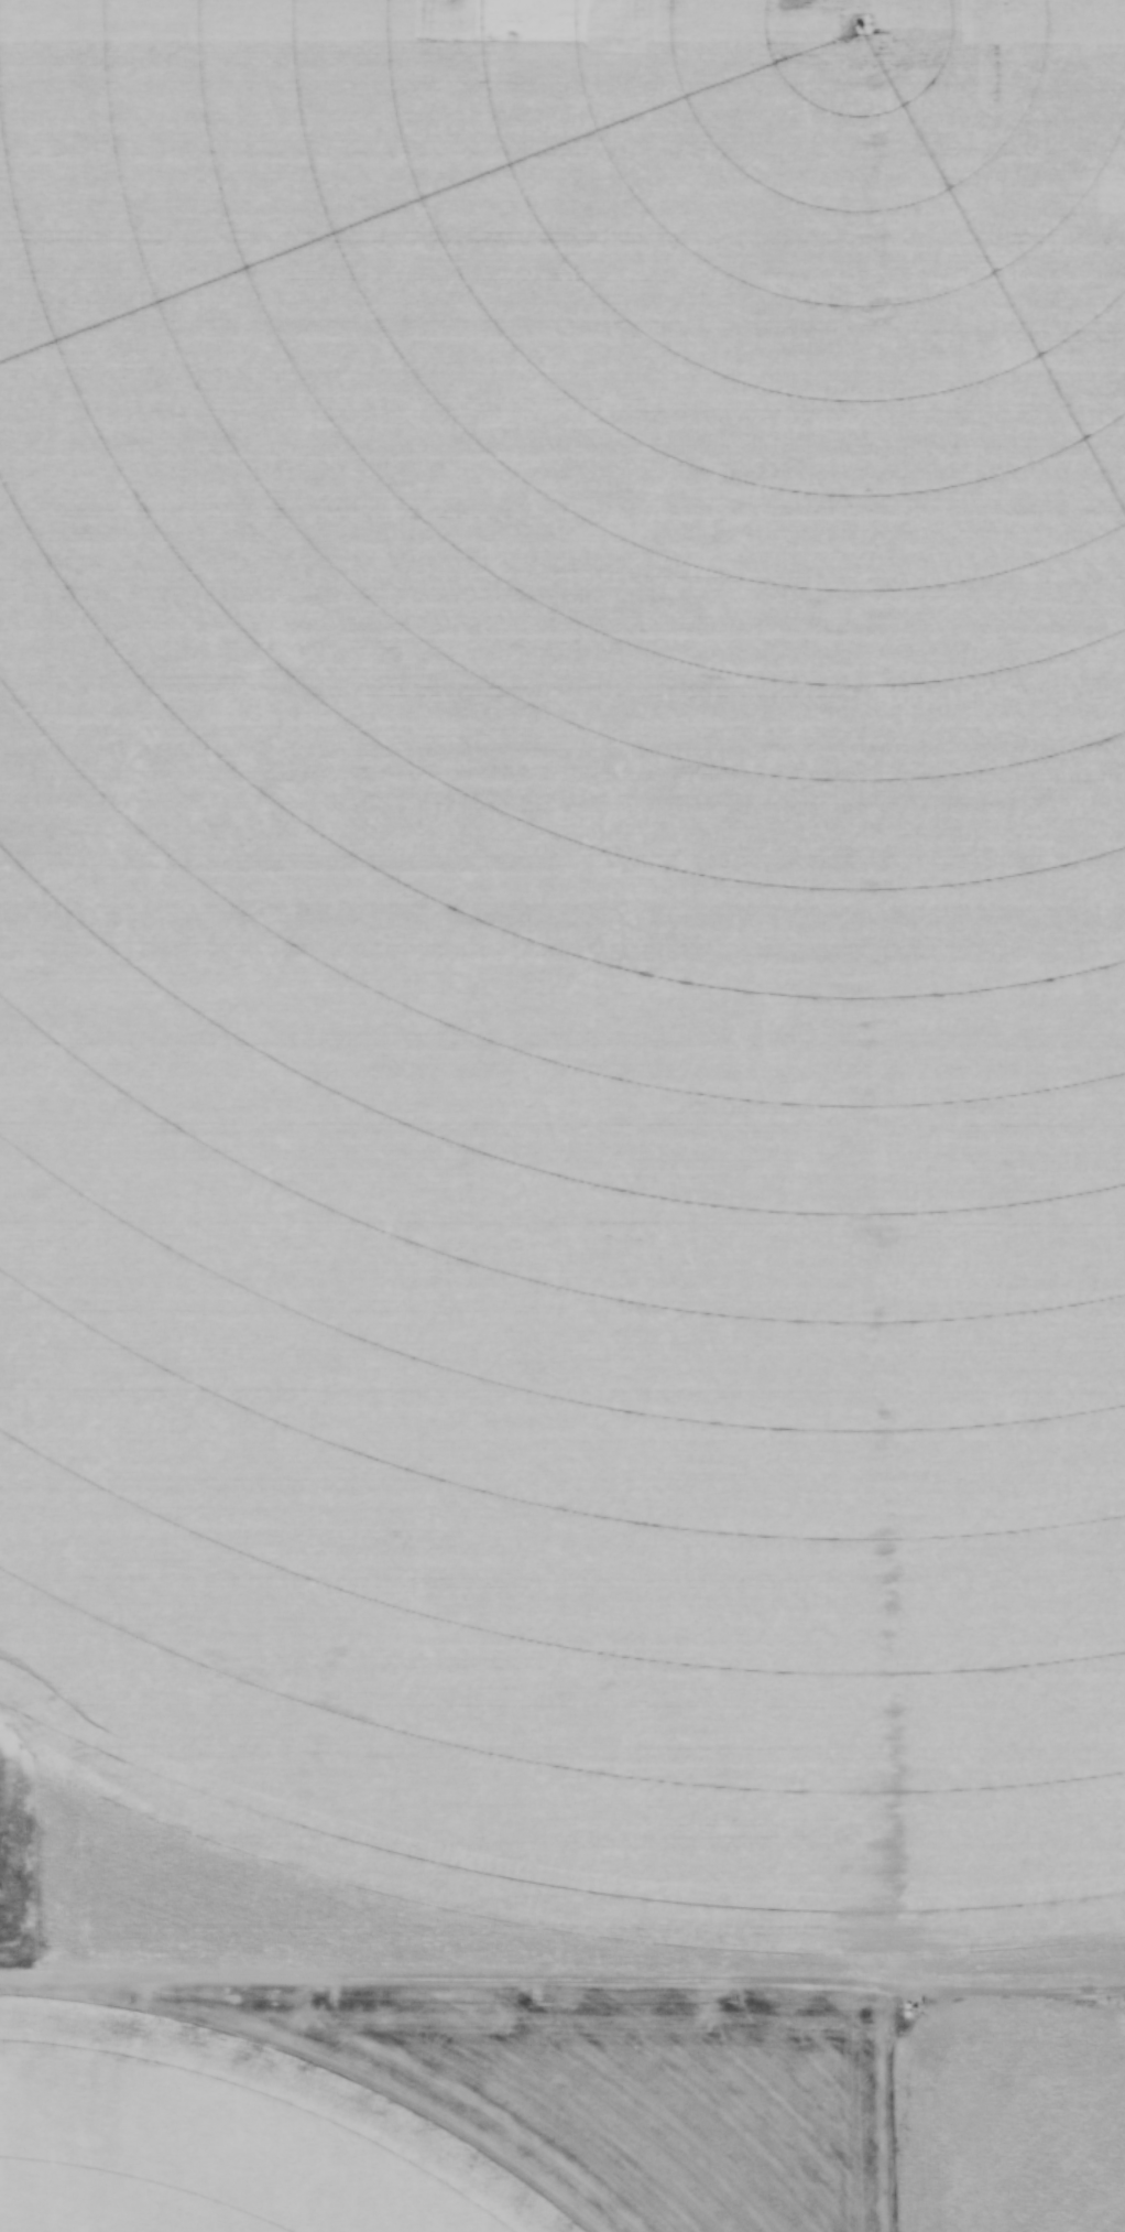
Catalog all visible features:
crop: (564, 979)
crop: (243, 2133)

